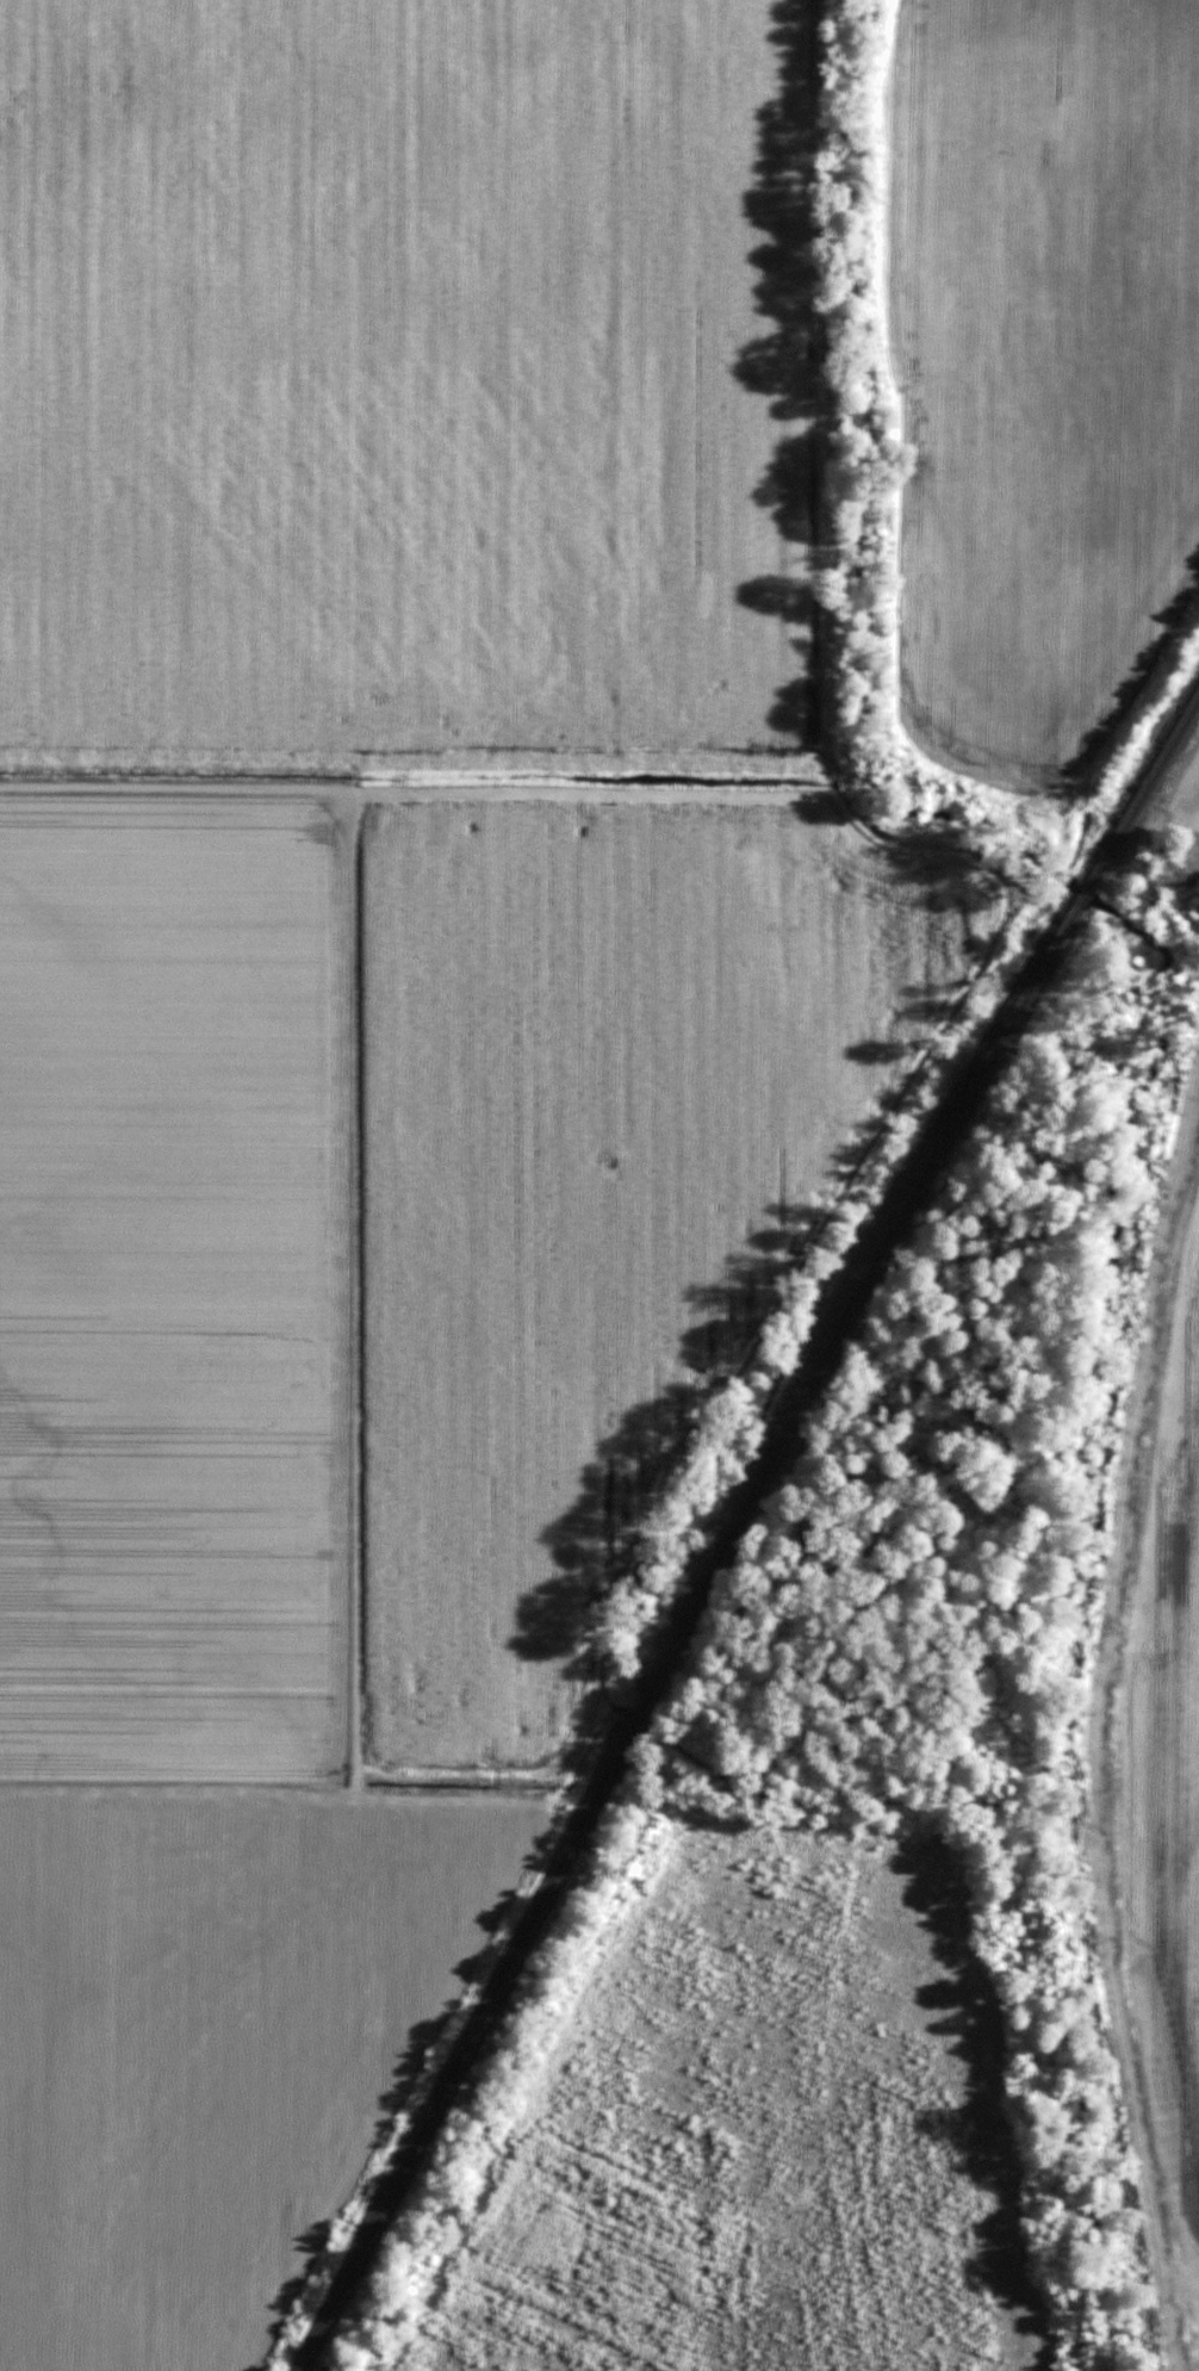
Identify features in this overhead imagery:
railway: (1142, 771)
railway: (1148, 786)
railway: (1075, 889)
railway: (1086, 894)
railway: (896, 1191)
railway: (672, 1634)

